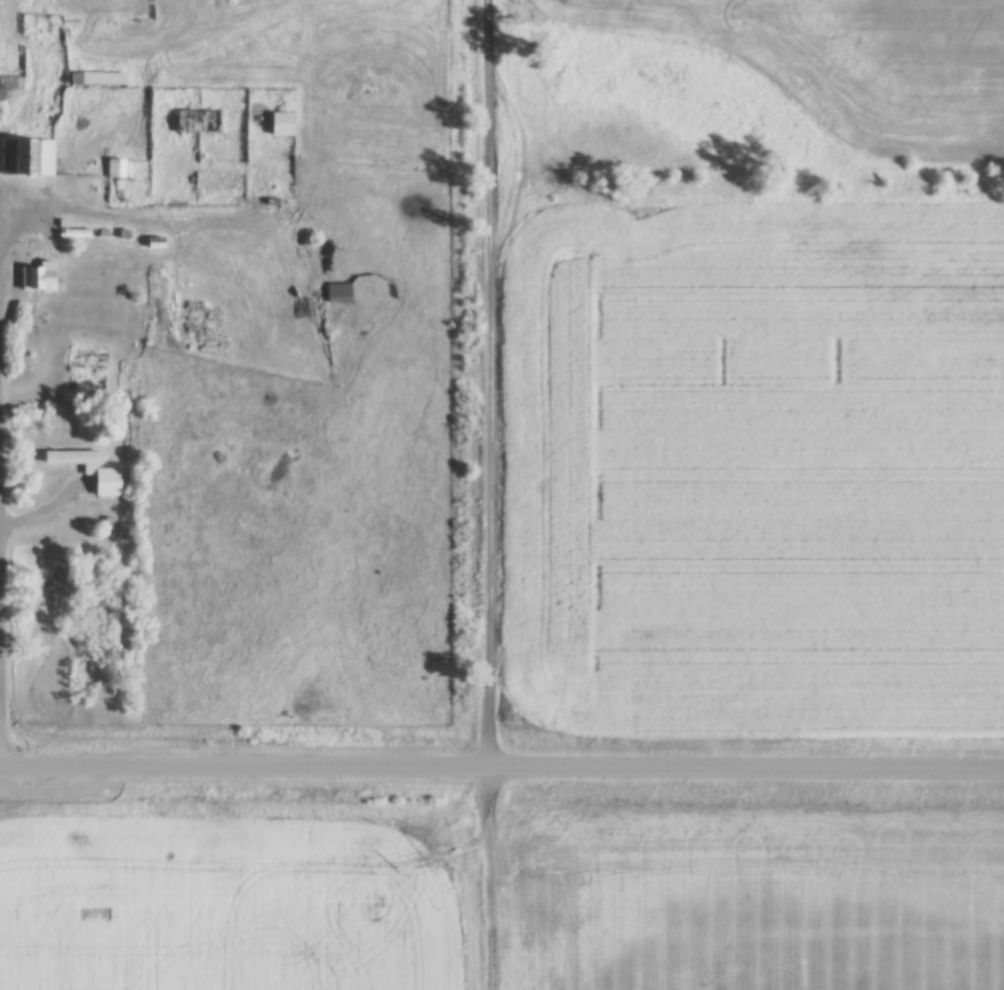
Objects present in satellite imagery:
building: (100, 81)
building: (196, 123)
building: (279, 125)
building: (25, 159)
building: (114, 169)
building: (71, 234)
building: (153, 243)
building: (36, 279)
building: (336, 294)
road: (487, 381)
building: (72, 460)
road: (3, 478)
road: (36, 511)
road: (502, 763)
road: (488, 876)

